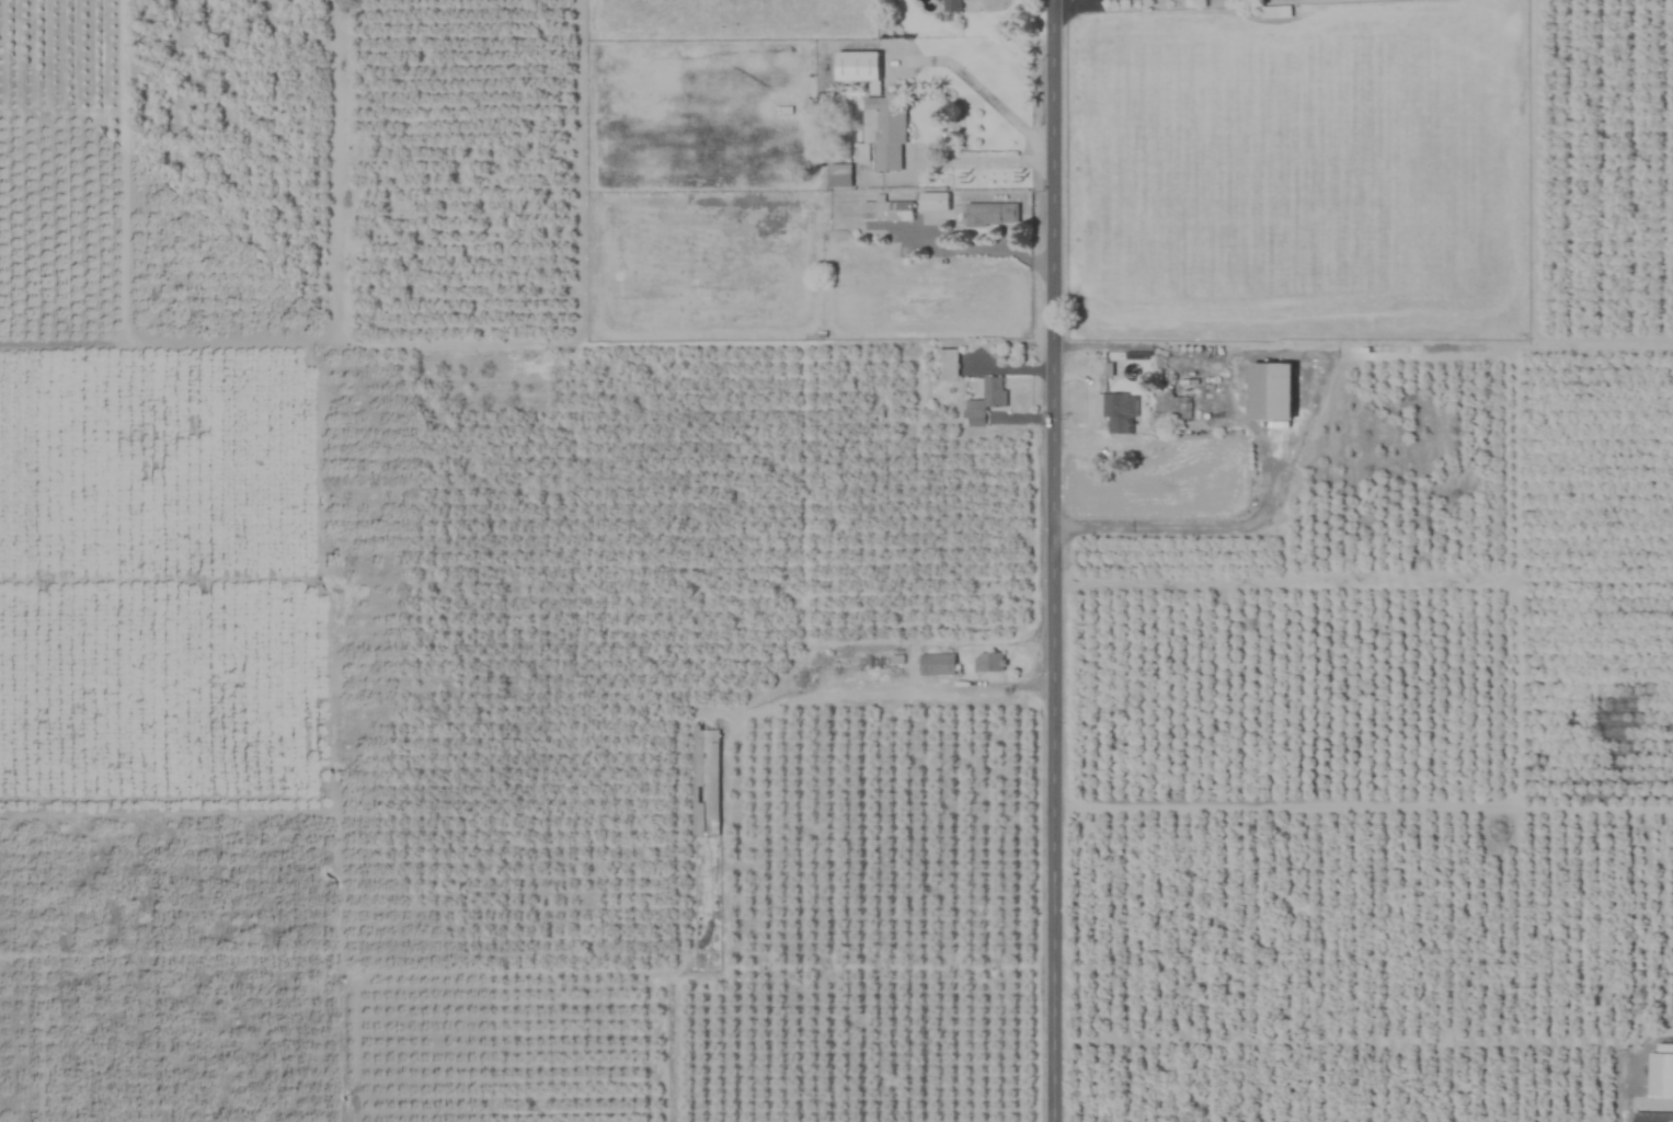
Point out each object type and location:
building: (1275, 11)
building: (857, 66)
road: (982, 85)
building: (881, 134)
road: (982, 154)
building: (838, 175)
building: (933, 201)
building: (885, 210)
building: (990, 214)
road: (1103, 343)
building: (947, 364)
building: (1271, 391)
road: (1091, 399)
building: (984, 401)
building: (1115, 410)
road: (1190, 525)
road: (1055, 561)
road: (1277, 579)
building: (988, 662)
building: (936, 664)
road: (879, 687)
building: (706, 848)
building: (1661, 1073)
road: (1655, 1102)
building: (1652, 1117)

